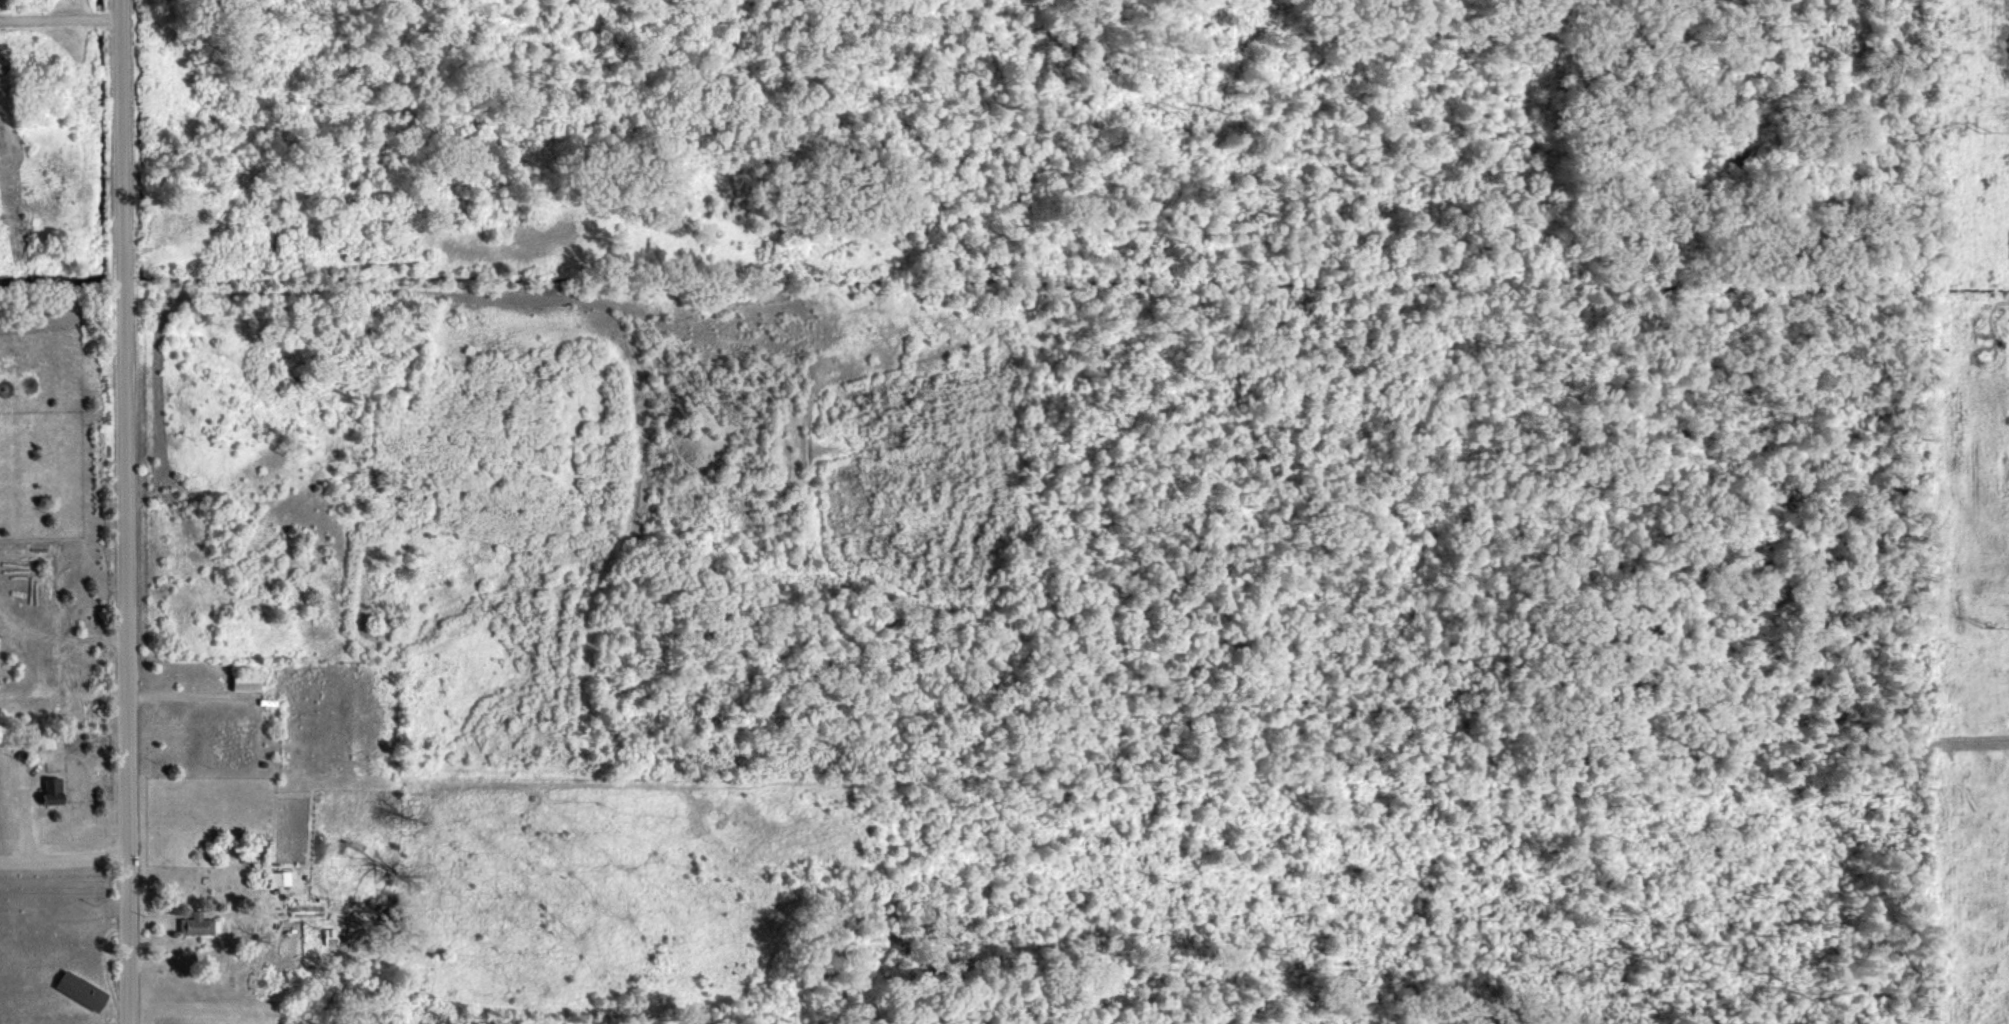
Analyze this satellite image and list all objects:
road: (60, 13)
power tower: (1969, 125)
road: (124, 511)
power tower: (1979, 628)
building: (243, 681)
road: (62, 736)
building: (43, 741)
building: (50, 789)
road: (63, 853)
building: (278, 877)
building: (196, 924)
building: (78, 990)

